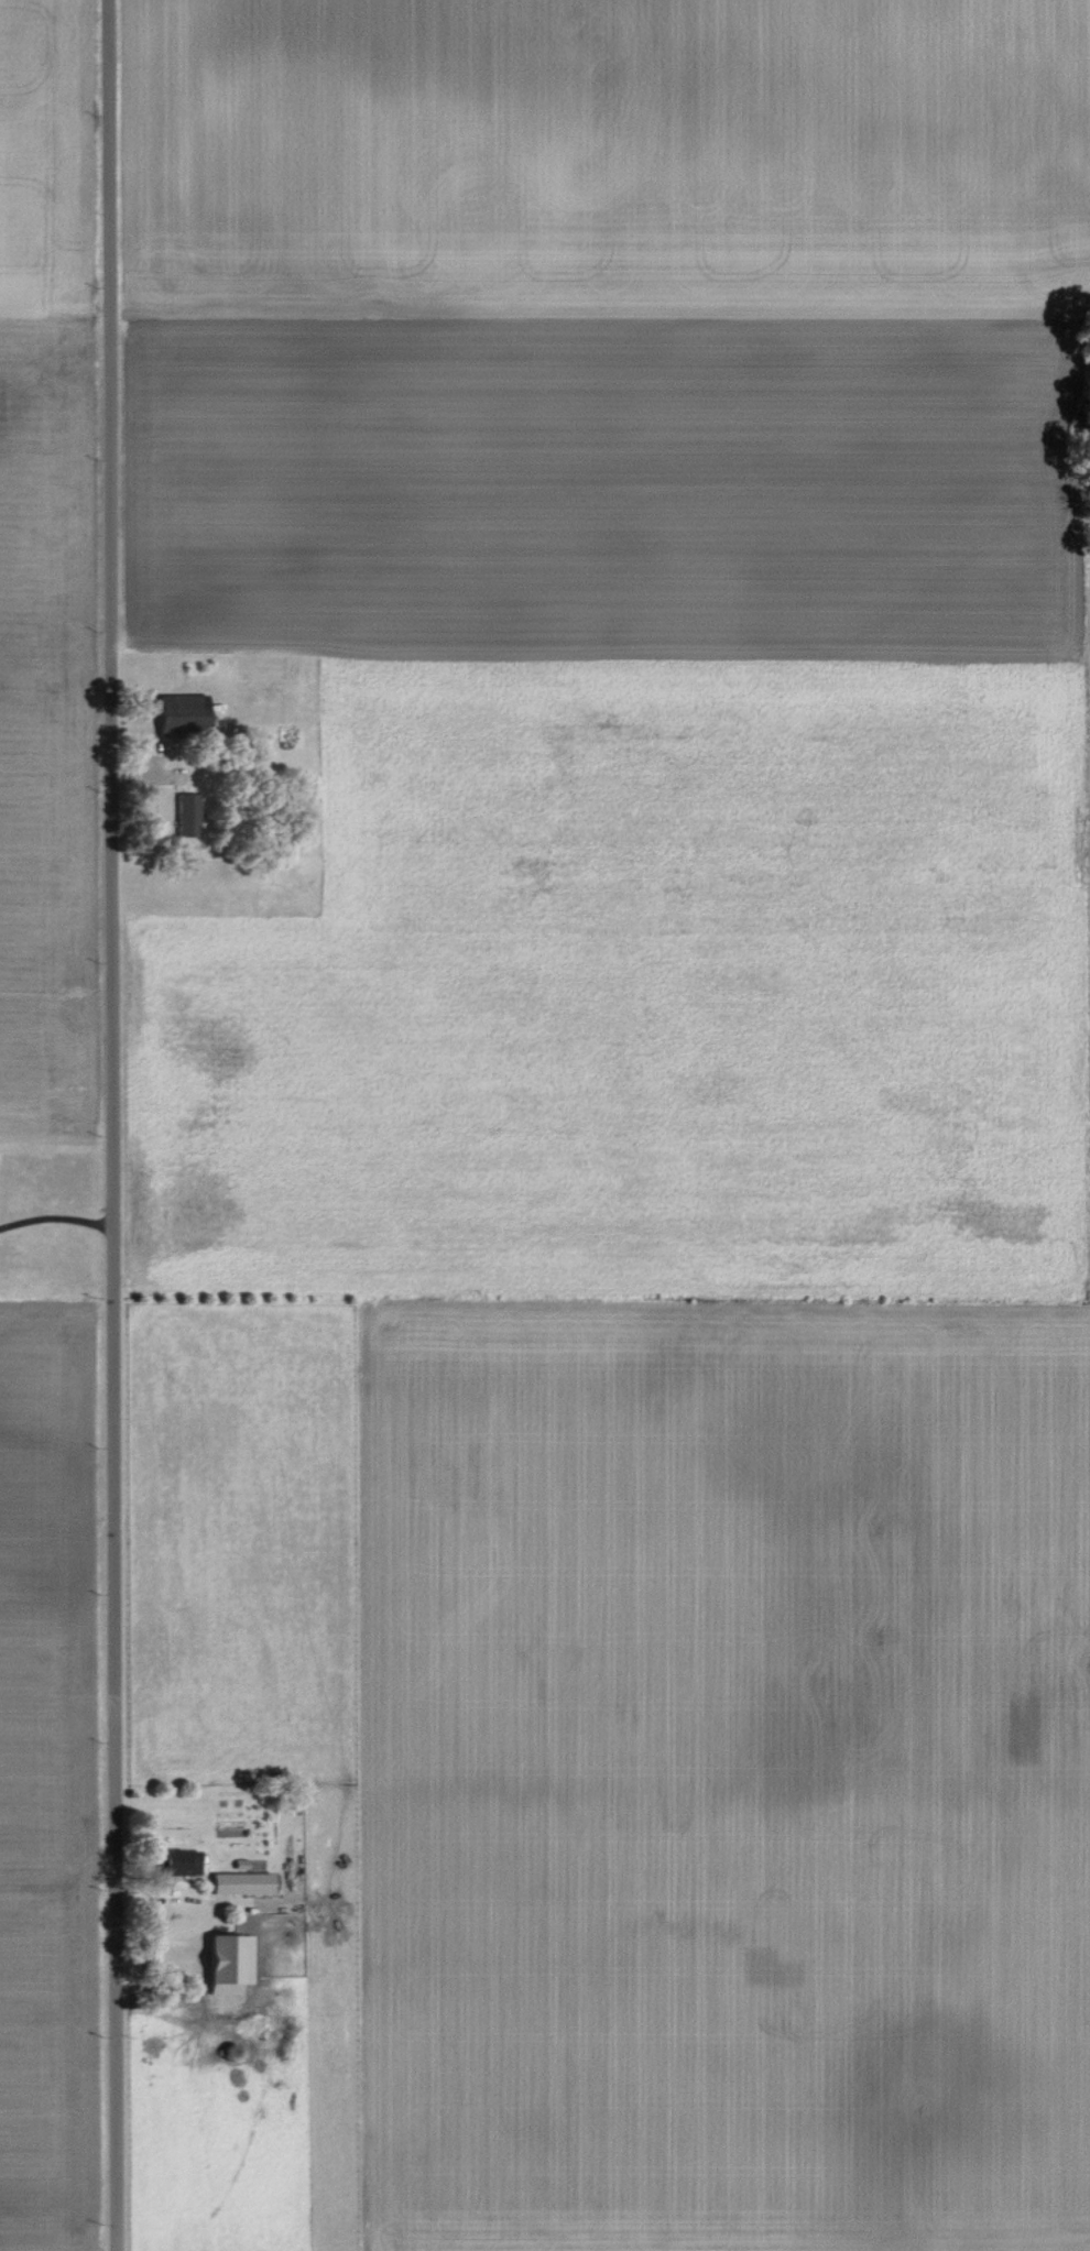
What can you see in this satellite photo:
building: (176, 712)
building: (183, 815)
road: (111, 1125)
road: (59, 1217)
building: (176, 1862)
building: (237, 1883)
building: (225, 1963)

